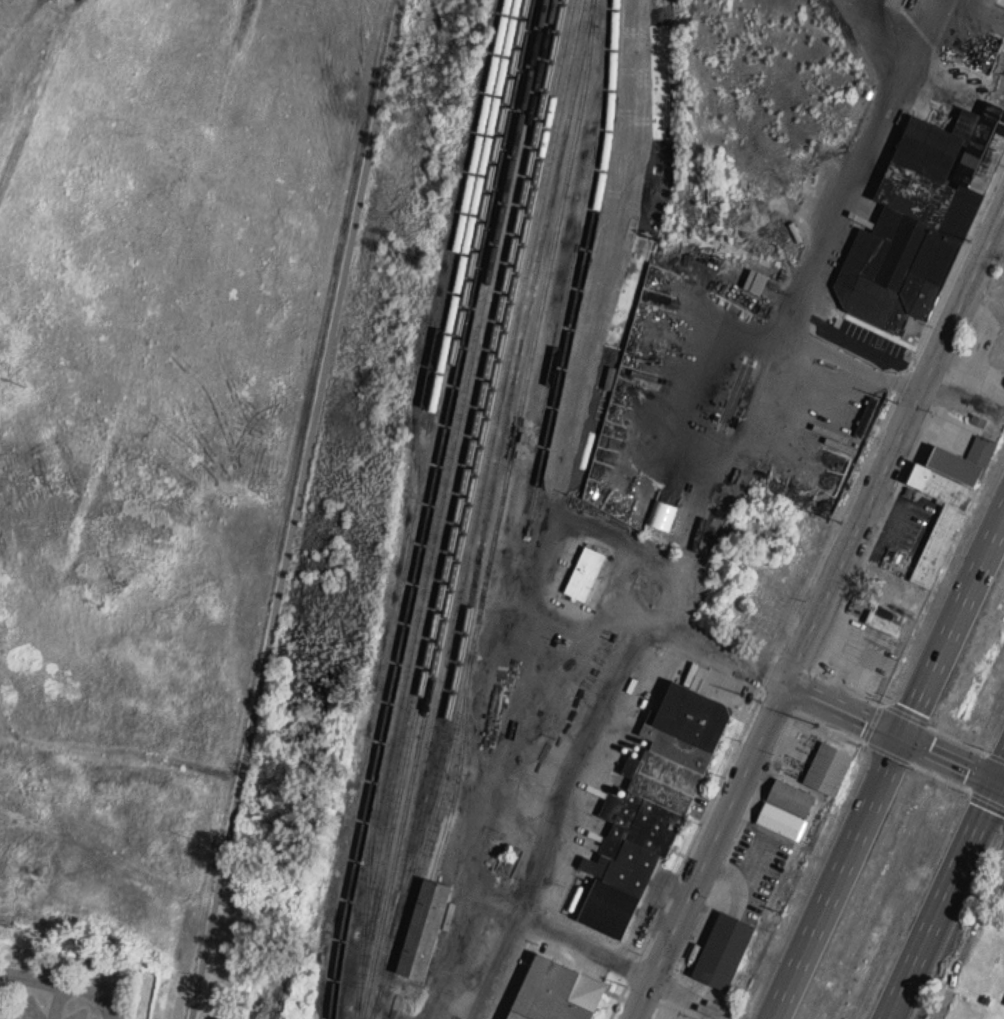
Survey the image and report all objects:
railway: (671, 83)
railway: (466, 207)
railway: (474, 219)
railway: (581, 220)
building: (917, 231)
railway: (585, 261)
building: (754, 283)
road: (853, 355)
railway: (461, 365)
railway: (460, 456)
railway: (500, 459)
railway: (465, 488)
railway: (481, 502)
building: (945, 503)
railway: (422, 507)
railway: (440, 507)
road: (706, 508)
road: (292, 509)
railway: (469, 509)
railway: (501, 513)
building: (585, 571)
road: (819, 613)
building: (886, 620)
road: (953, 626)
road: (781, 683)
road: (949, 758)
building: (828, 767)
road: (1000, 771)
building: (663, 777)
road: (1000, 781)
building: (790, 796)
building: (780, 819)
road: (838, 877)
road: (941, 899)
building: (606, 909)
building: (422, 929)
road: (589, 946)
building: (723, 950)
road: (63, 984)
building: (554, 992)
road: (58, 1001)
parking lot: (37, 1007)

